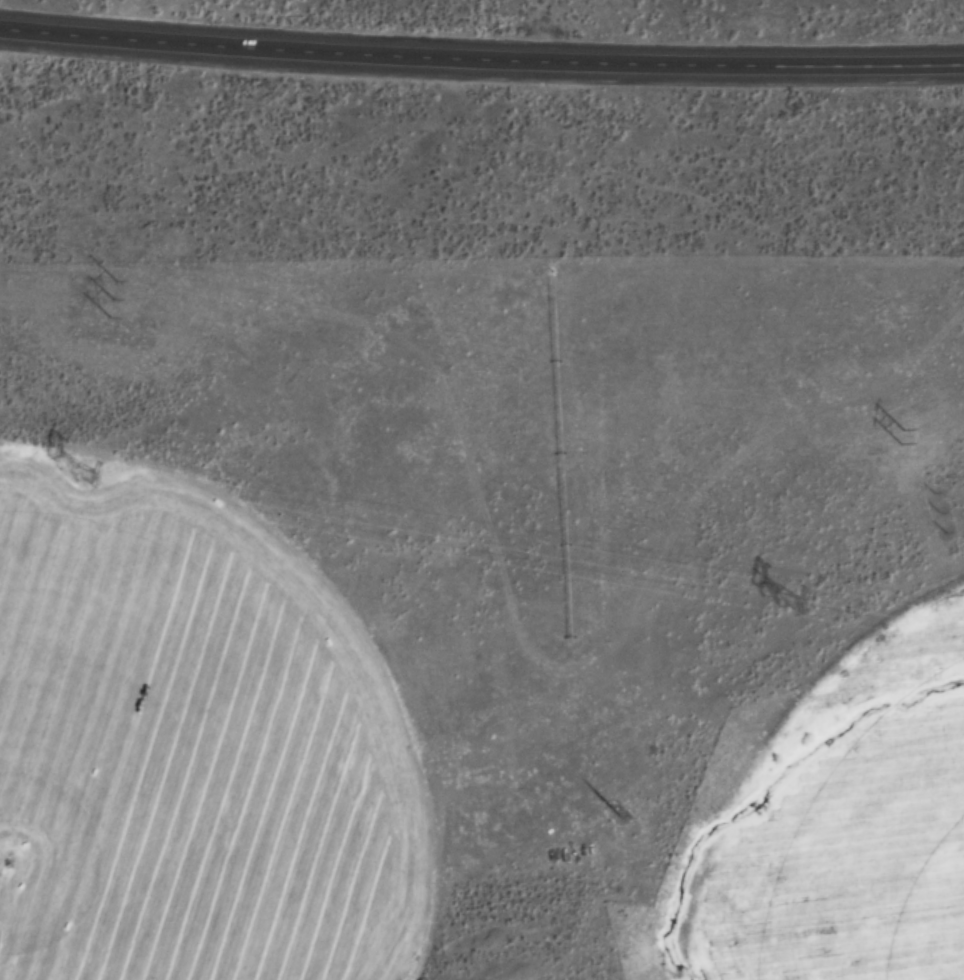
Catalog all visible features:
road: (481, 52)
power tower: (74, 471)
power tower: (941, 519)
power tower: (784, 601)
power tower: (616, 812)

